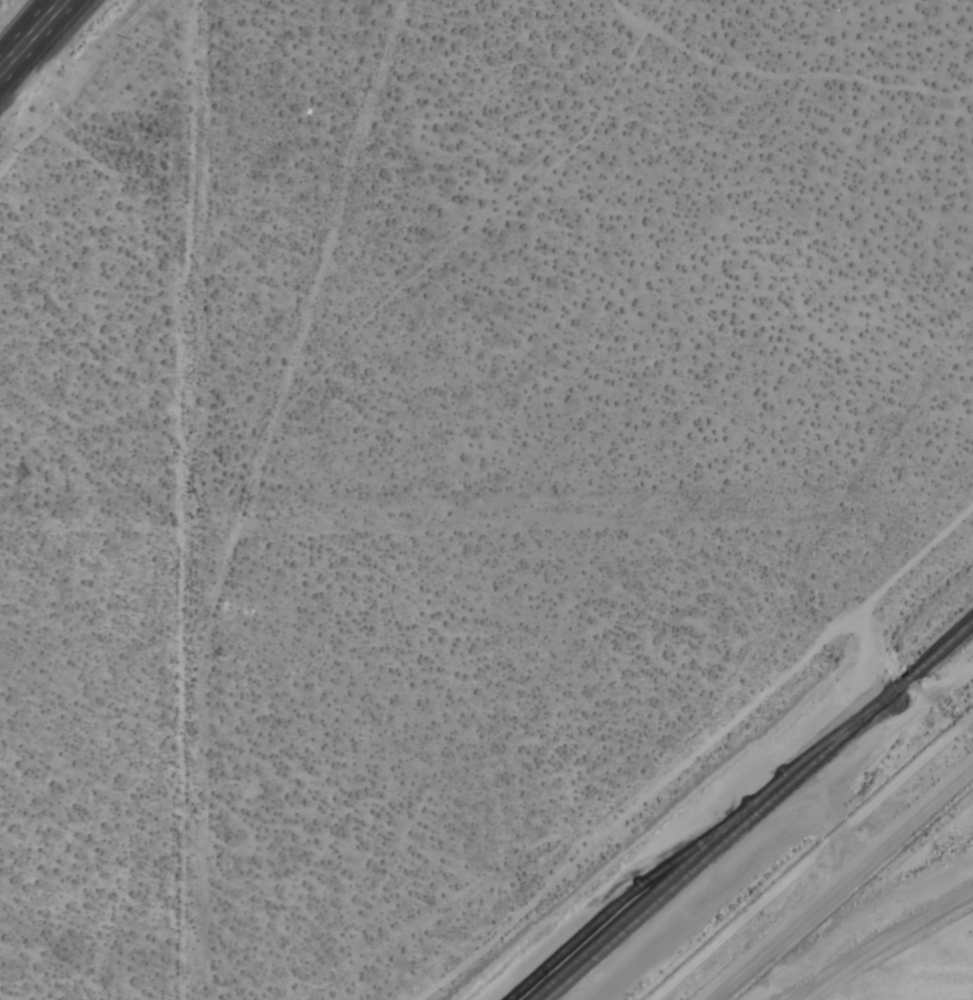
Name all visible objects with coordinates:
road: (26, 29)
road: (46, 52)
road: (180, 499)
railway: (763, 811)
railway: (712, 844)
road: (839, 883)
railway: (630, 896)
airport: (861, 900)
road: (879, 938)

